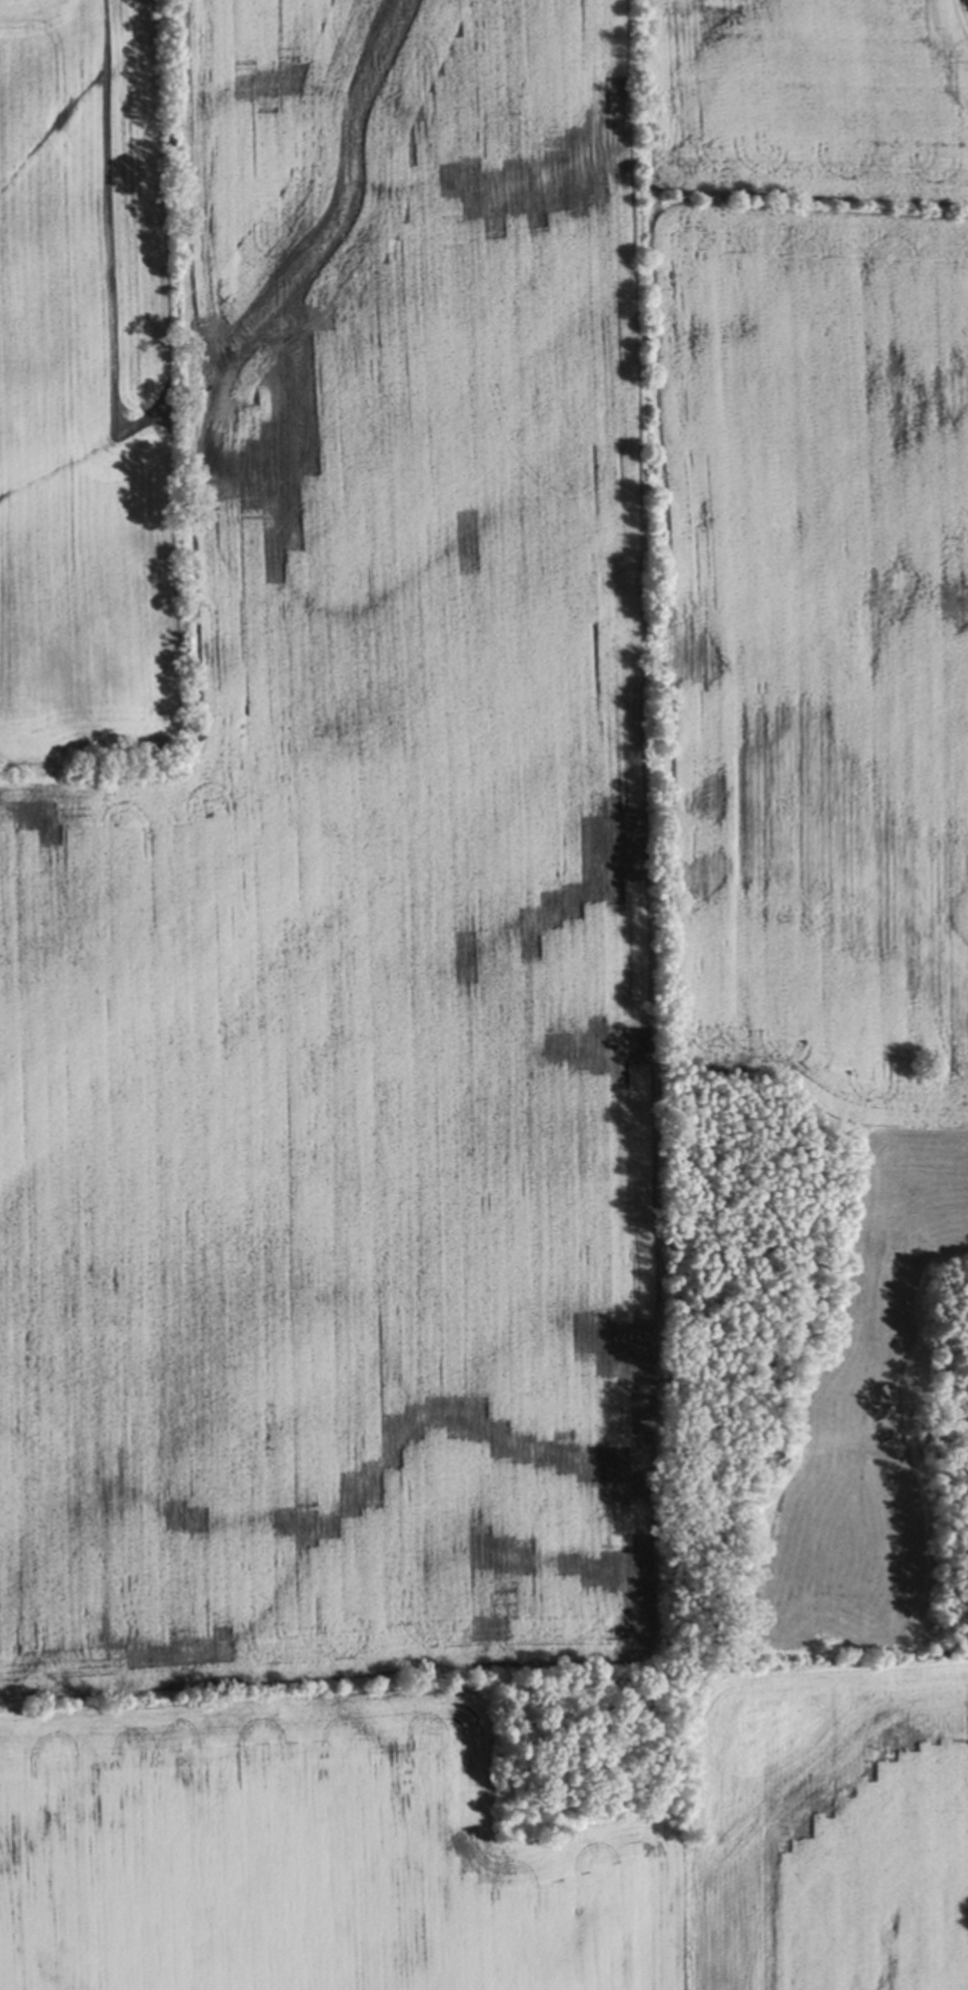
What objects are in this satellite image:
crop: (491, 1011)

